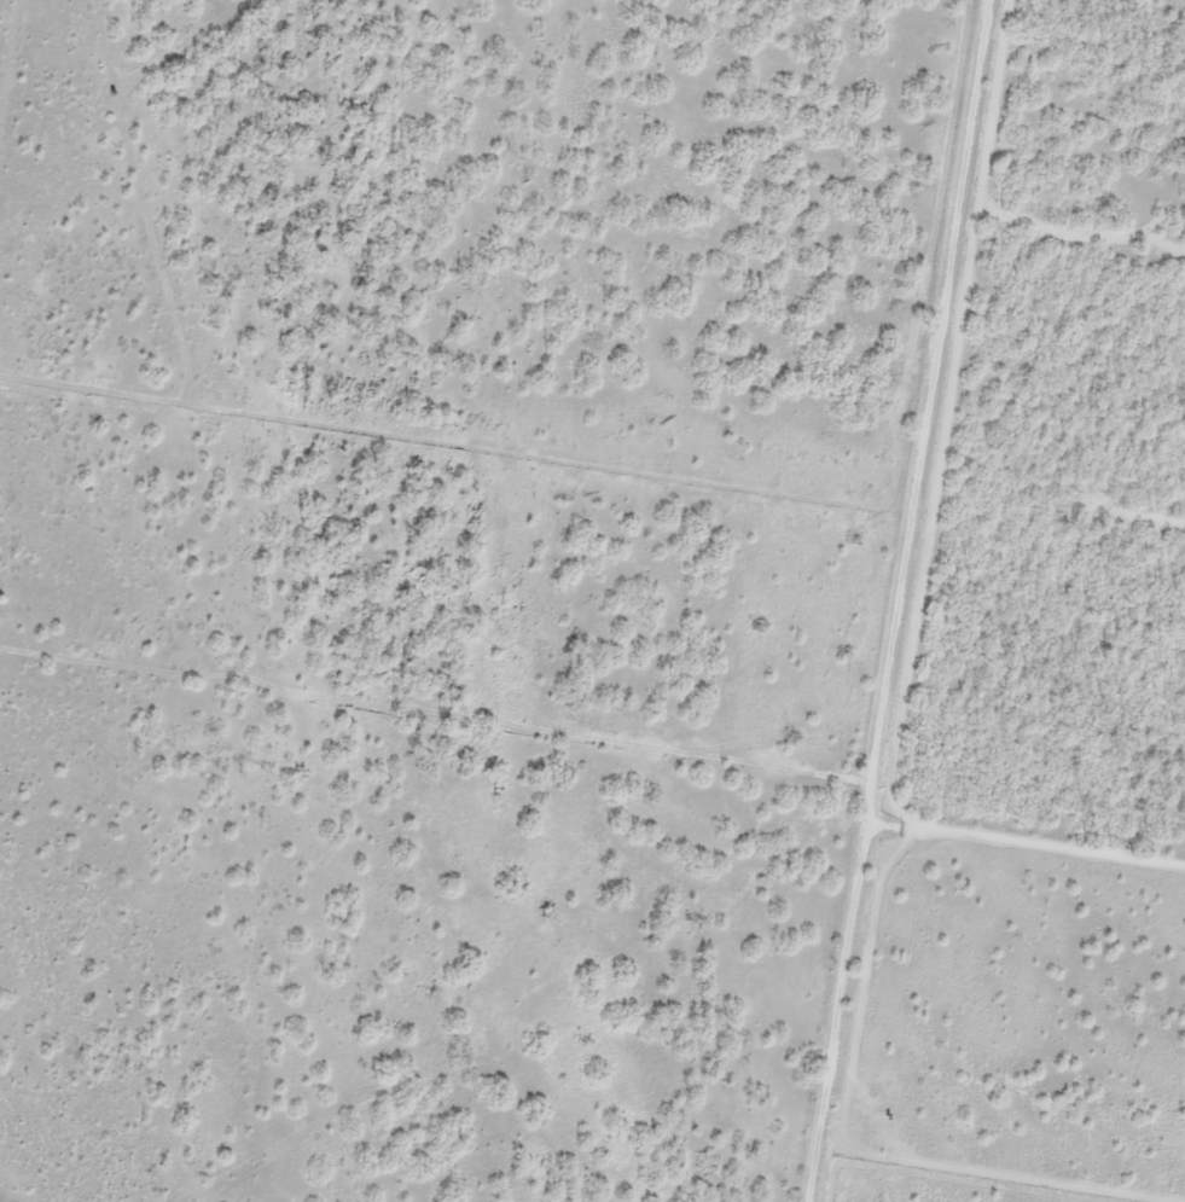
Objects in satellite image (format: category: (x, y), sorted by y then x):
road: (912, 600)
road: (440, 770)

